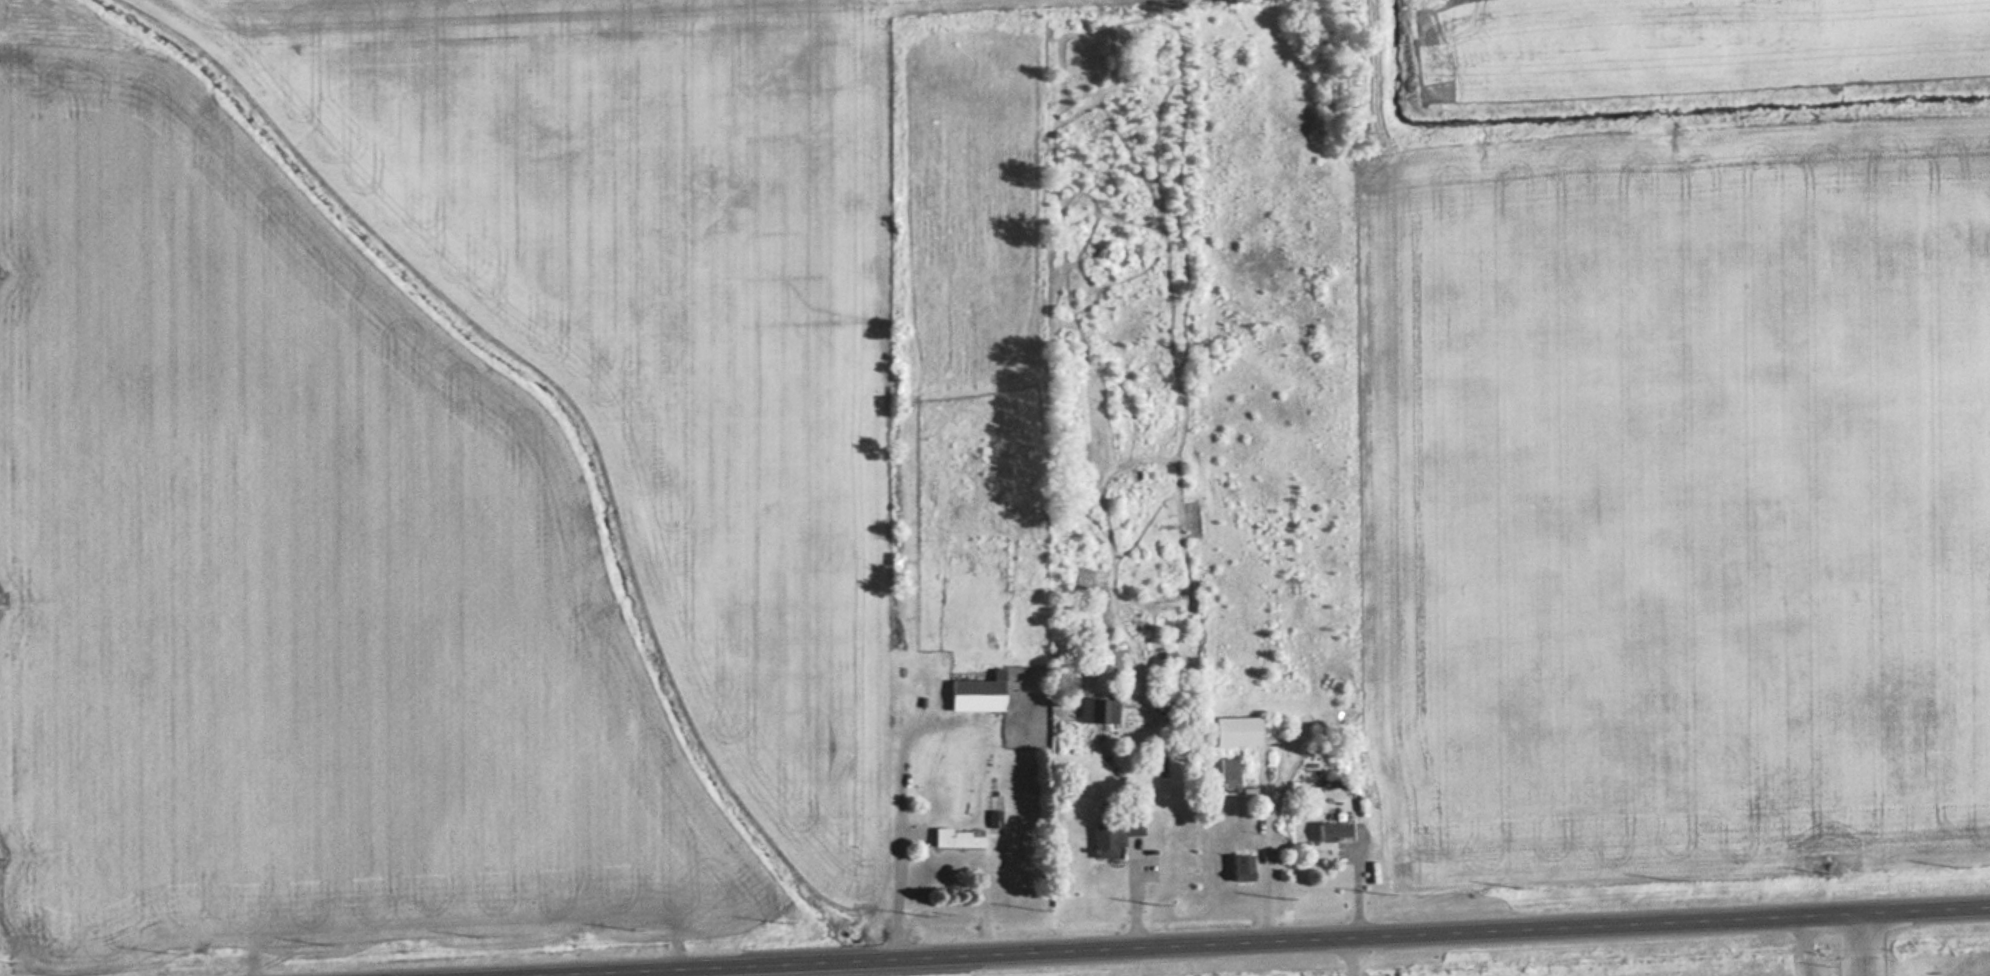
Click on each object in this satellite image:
building: (979, 694)
building: (1099, 710)
building: (1237, 731)
building: (1229, 774)
building: (994, 818)
building: (1335, 831)
building: (1115, 832)
building: (957, 838)
building: (1243, 868)
road: (1255, 942)

